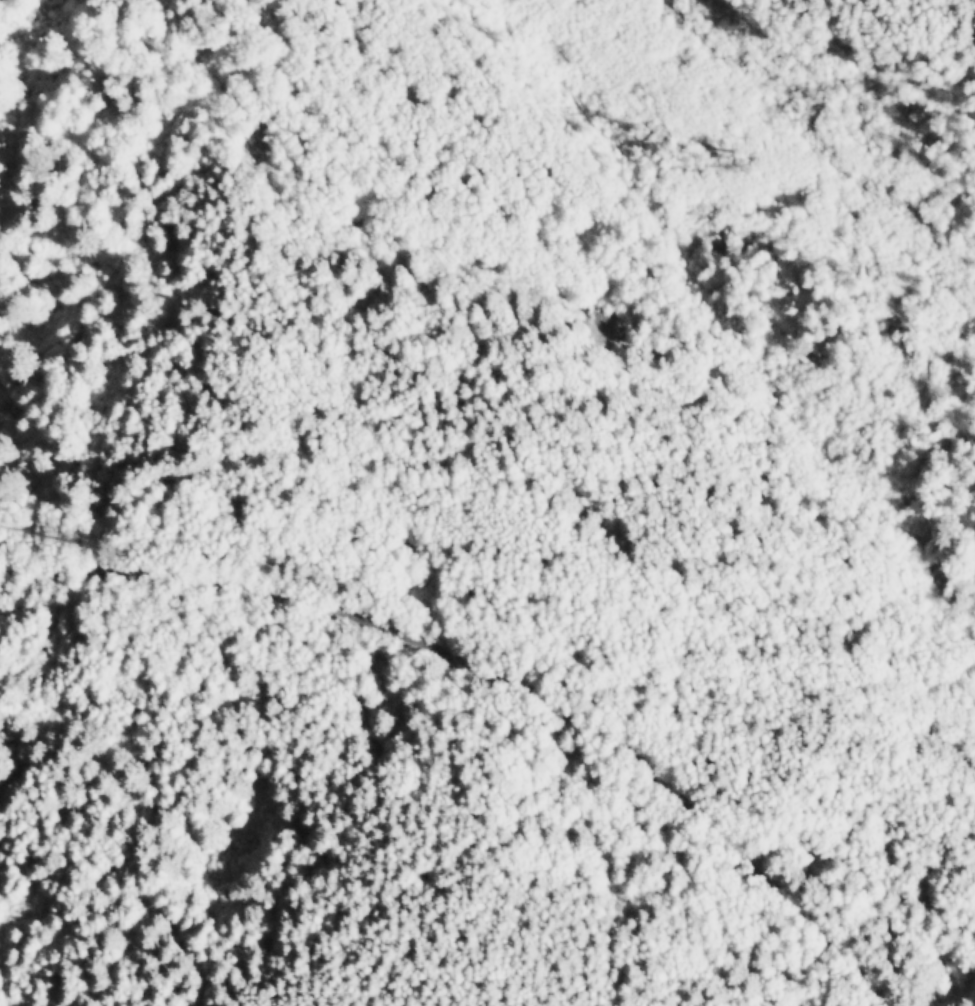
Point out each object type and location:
road: (8, 253)
road: (166, 365)
road: (502, 684)

